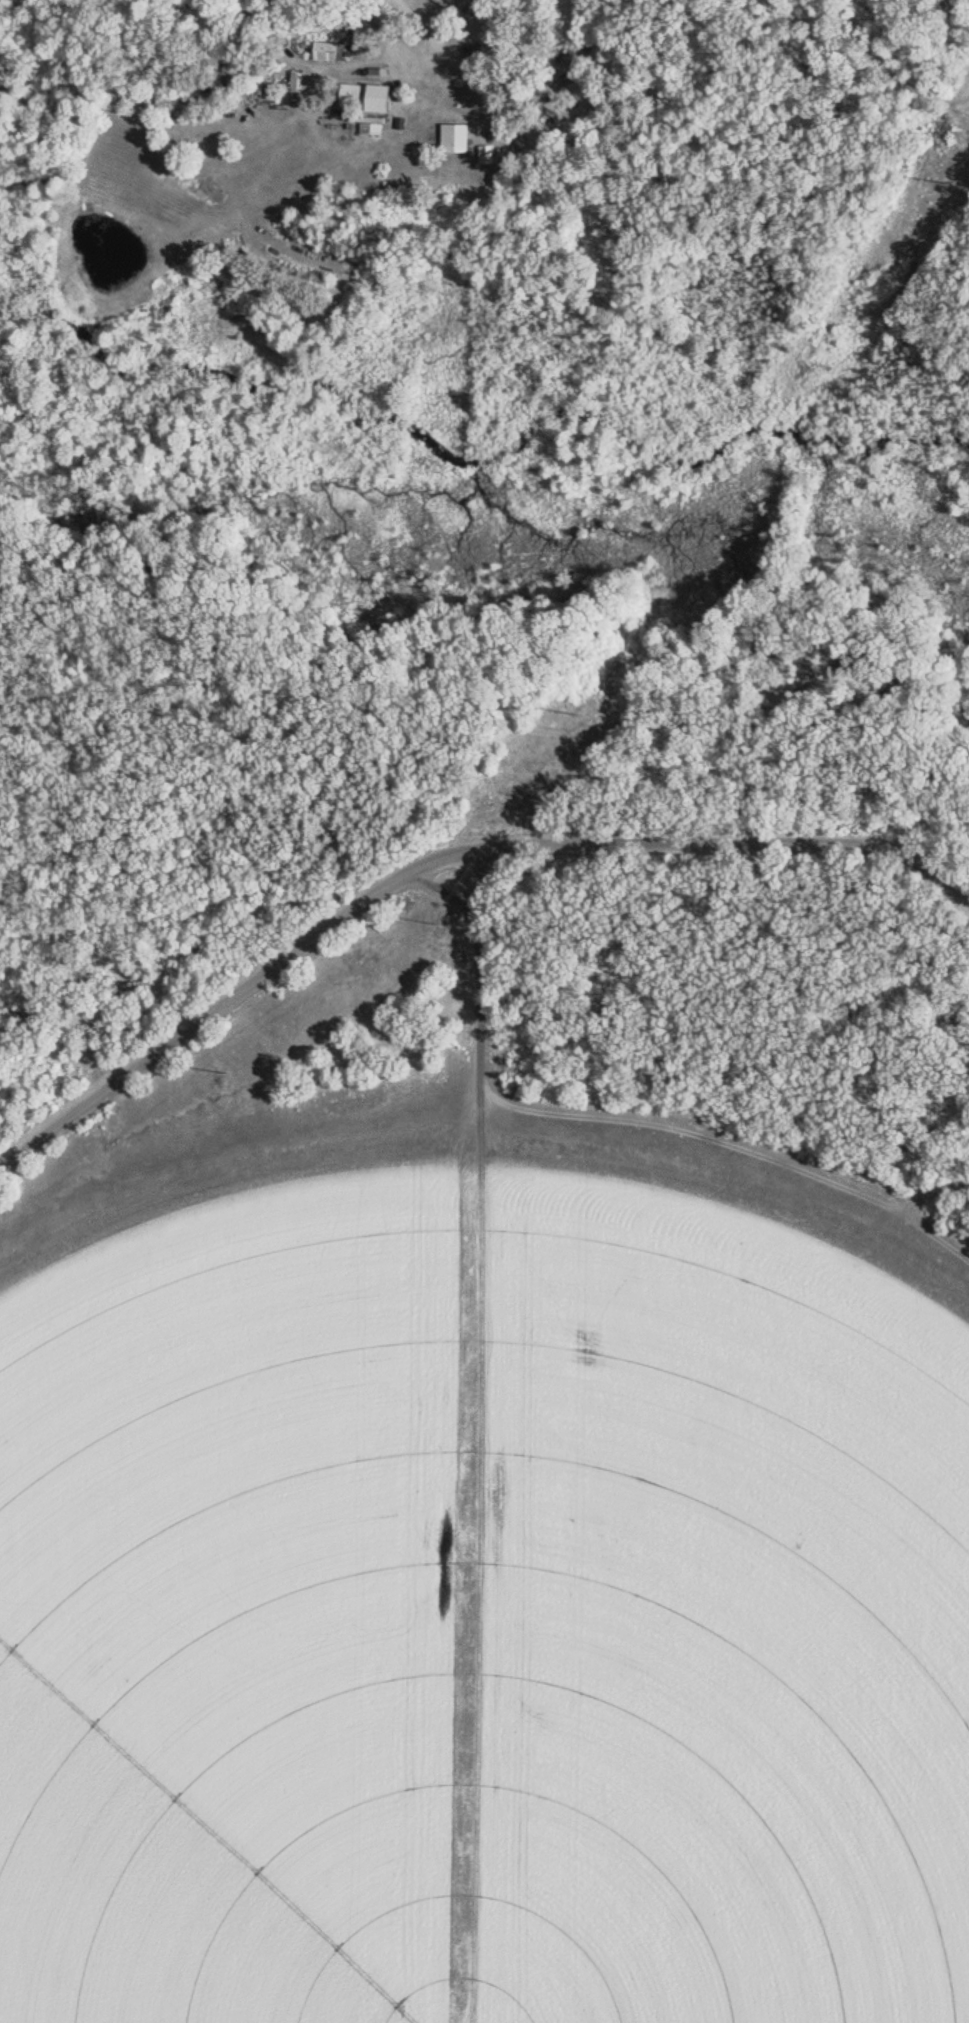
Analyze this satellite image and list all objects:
road: (450, 48)
building: (332, 51)
building: (369, 97)
building: (458, 138)
building: (489, 154)
road: (444, 859)
wastewater plant: (506, 1447)

